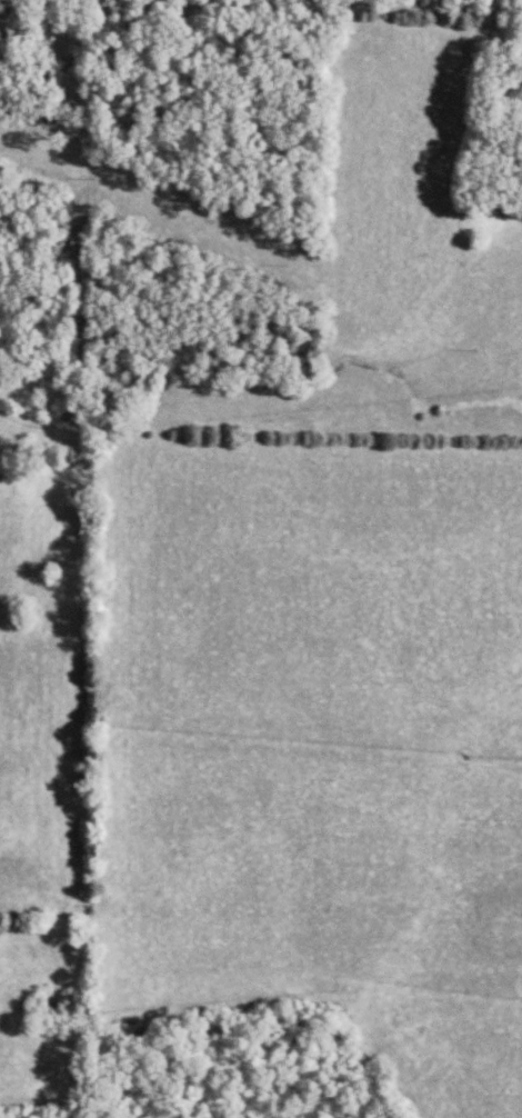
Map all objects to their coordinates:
road: (304, 6)
road: (211, 1026)

